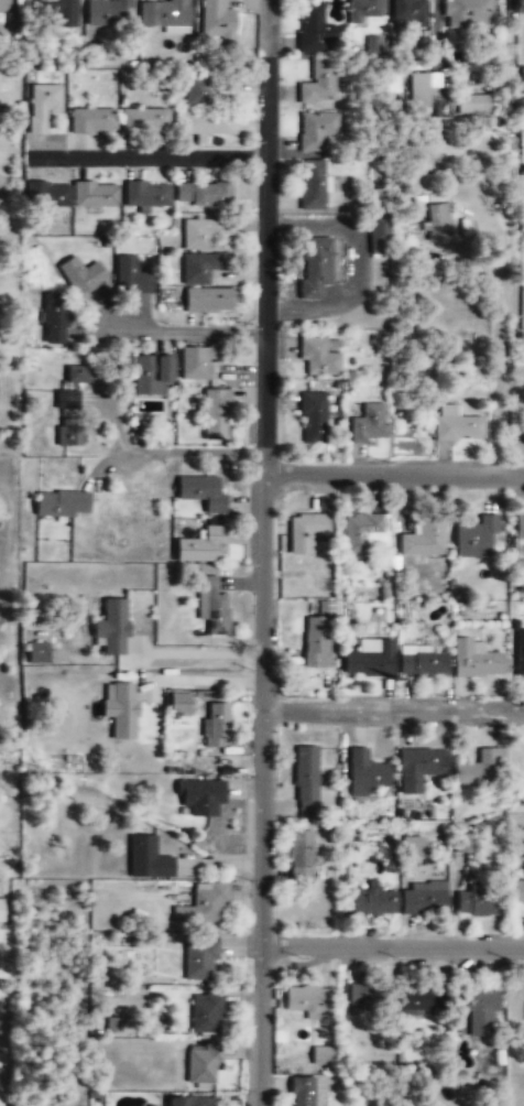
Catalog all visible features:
building: (4, 6)
building: (55, 9)
building: (365, 10)
building: (408, 11)
building: (108, 12)
building: (468, 12)
building: (165, 14)
building: (217, 21)
road: (268, 26)
building: (313, 29)
building: (523, 80)
building: (317, 88)
building: (421, 91)
building: (198, 94)
building: (43, 105)
building: (472, 105)
building: (92, 121)
building: (144, 121)
building: (207, 126)
building: (316, 130)
street lamp: (254, 140)
road: (150, 156)
building: (1, 180)
building: (312, 185)
building: (204, 194)
building: (48, 195)
building: (96, 195)
building: (146, 196)
building: (435, 225)
building: (203, 232)
building: (380, 232)
building: (201, 267)
building: (314, 267)
building: (81, 275)
building: (132, 278)
building: (207, 300)
building: (55, 319)
road: (496, 321)
road: (185, 330)
building: (318, 357)
building: (198, 361)
building: (151, 373)
building: (78, 375)
building: (67, 400)
building: (217, 414)
building: (314, 418)
building: (369, 424)
building: (456, 424)
building: (69, 432)
road: (194, 451)
road: (393, 474)
building: (199, 491)
building: (61, 502)
building: (518, 524)
building: (303, 530)
building: (357, 530)
building: (422, 534)
building: (473, 535)
building: (198, 543)
road: (262, 578)
building: (209, 604)
building: (109, 625)
building: (314, 640)
building: (39, 651)
building: (518, 651)
building: (369, 659)
building: (472, 659)
building: (422, 663)
building: (181, 703)
road: (393, 708)
building: (118, 709)
building: (214, 723)
building: (477, 765)
building: (417, 766)
building: (362, 771)
building: (303, 772)
building: (198, 794)
building: (462, 843)
building: (410, 844)
building: (297, 855)
building: (144, 857)
building: (7, 861)
building: (516, 890)
building: (479, 898)
building: (370, 900)
building: (422, 901)
building: (200, 903)
building: (1, 909)
road: (392, 946)
building: (197, 957)
building: (369, 996)
building: (417, 997)
building: (305, 998)
building: (474, 1007)
building: (204, 1012)
park: (3, 1019)
building: (319, 1054)
building: (199, 1063)
building: (299, 1091)
building: (175, 1102)
building: (199, 1102)

